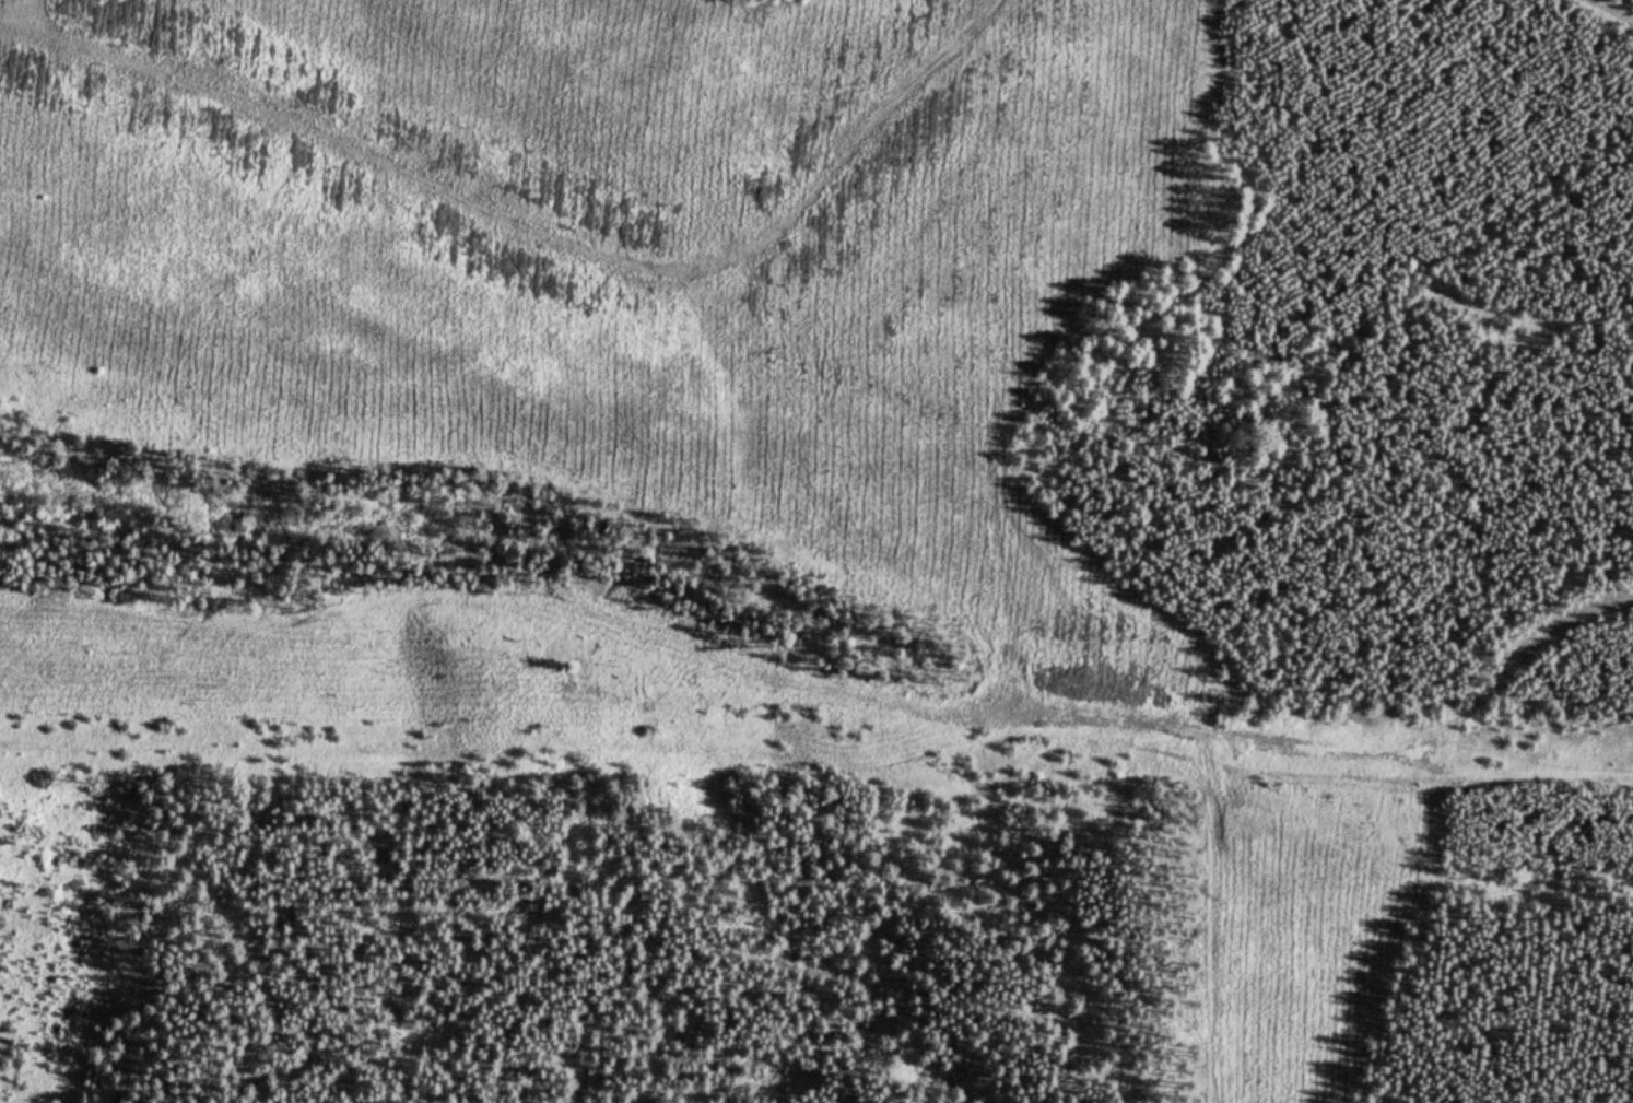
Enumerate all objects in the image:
road: (1614, 7)
road: (1481, 688)
road: (821, 768)

